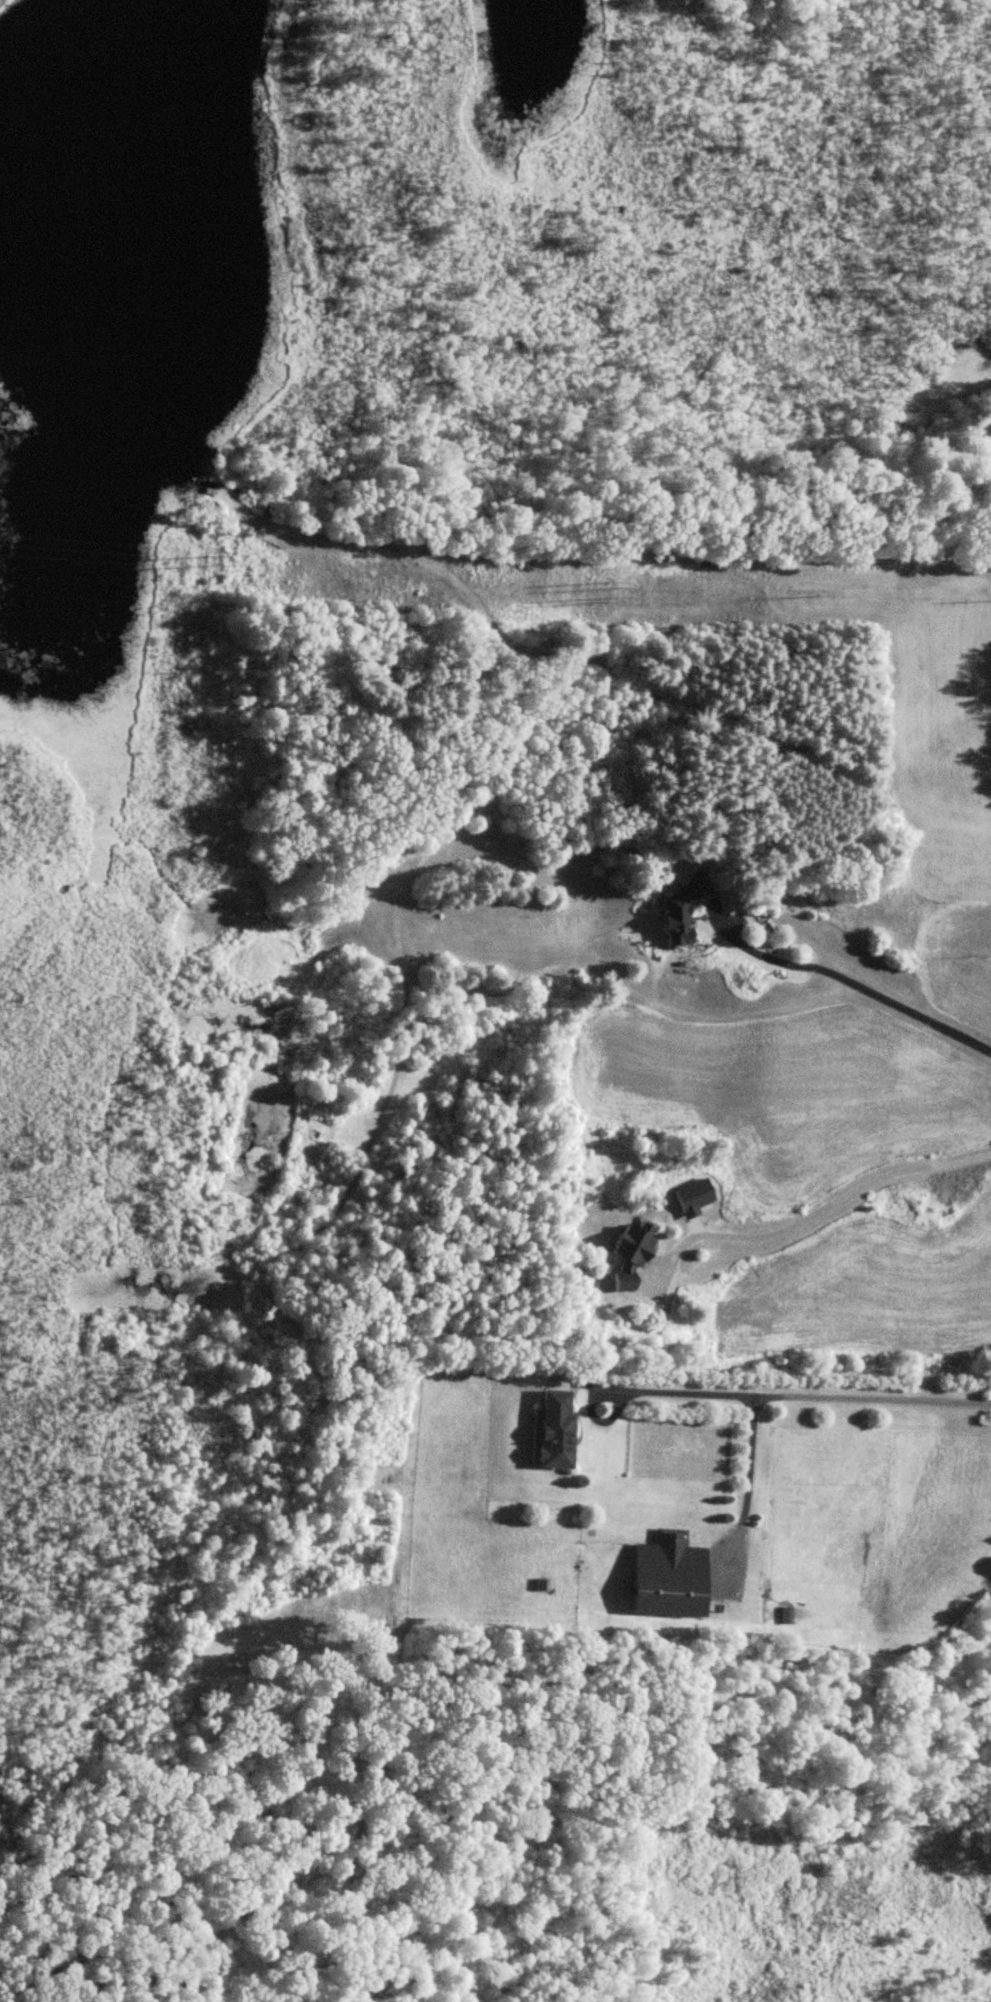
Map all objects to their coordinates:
power tower: (211, 550)
building: (678, 908)
road: (852, 982)
road: (811, 1213)
building: (629, 1254)
road: (795, 1394)
building: (555, 1429)
road: (747, 1476)
building: (669, 1576)

